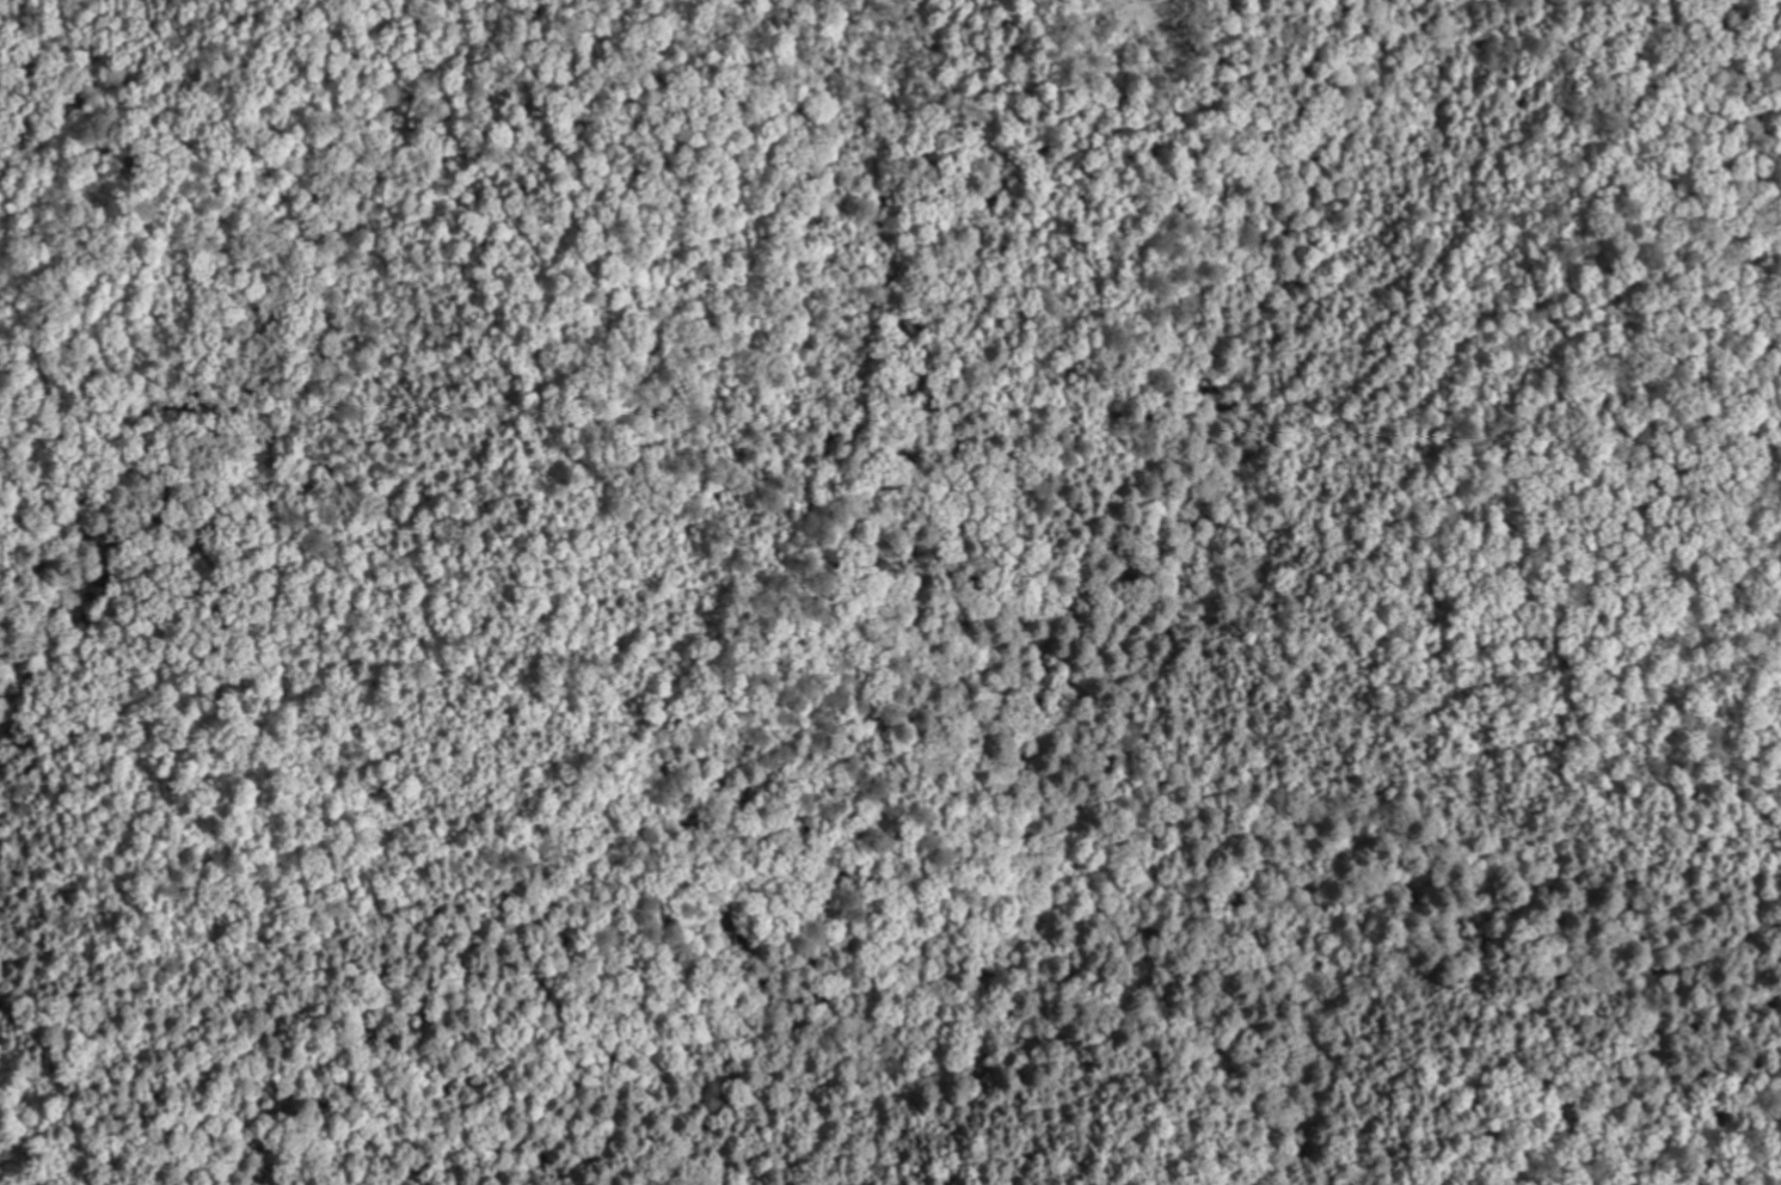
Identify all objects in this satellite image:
road: (1748, 321)

